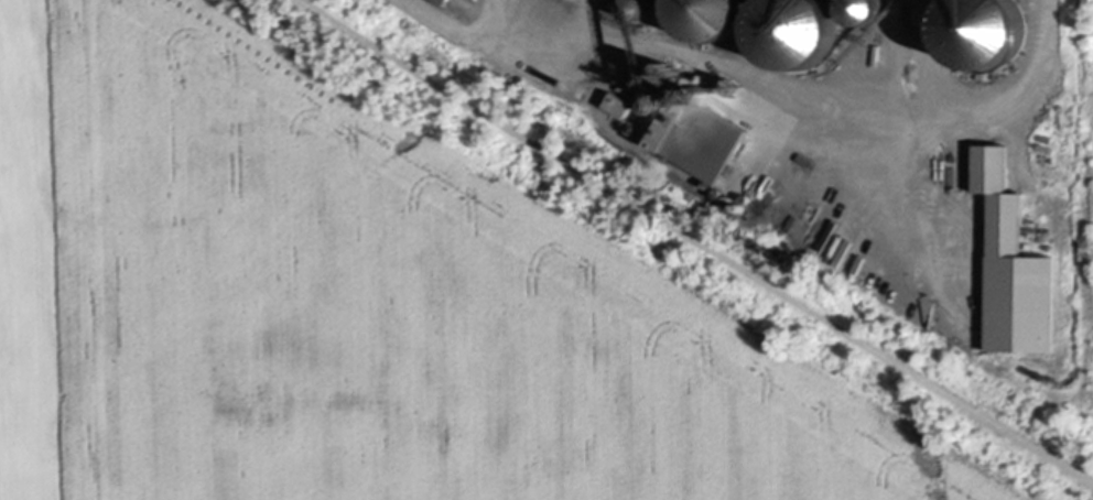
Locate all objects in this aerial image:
building: (446, 0)
road: (534, 7)
building: (711, 18)
building: (699, 130)
road: (697, 239)

